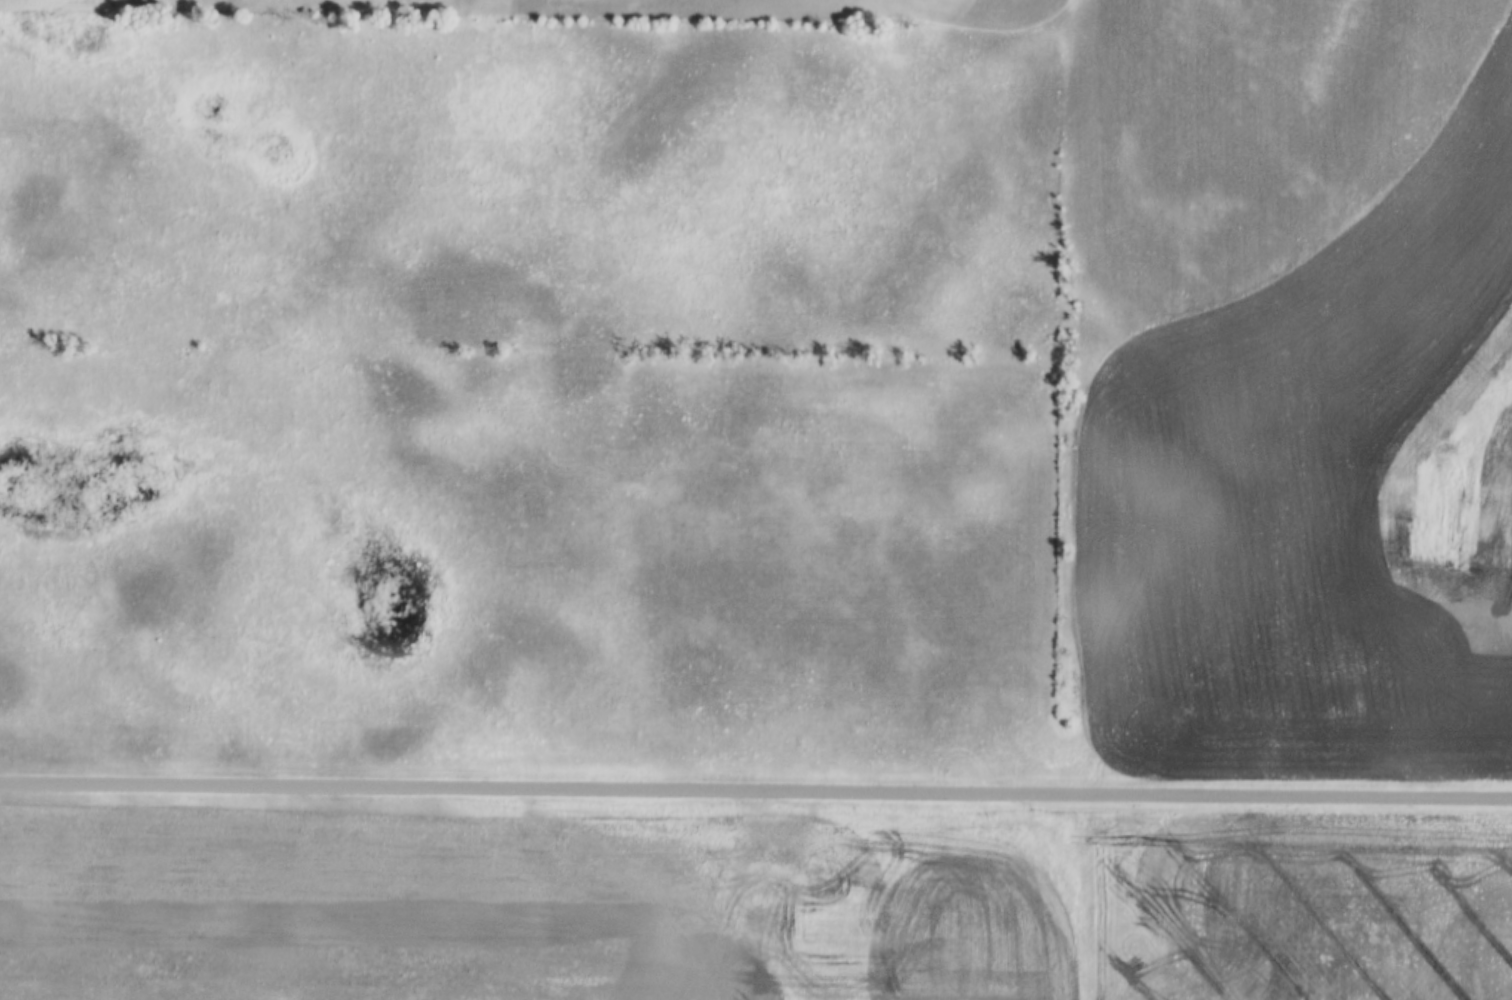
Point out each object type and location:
road: (756, 789)

